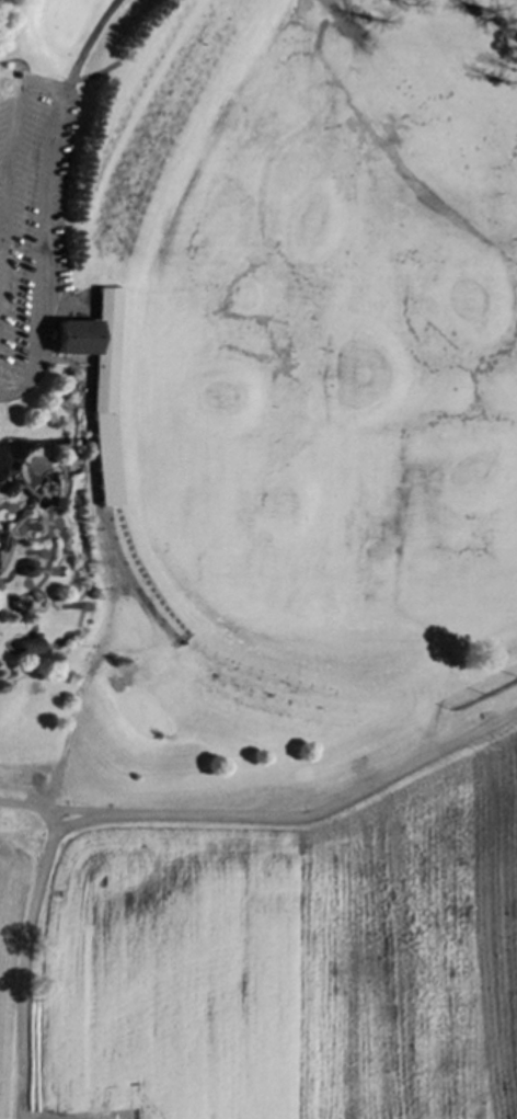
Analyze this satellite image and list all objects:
road: (81, 52)
road: (12, 124)
road: (41, 264)
building: (97, 382)
park: (250, 385)
building: (31, 647)
road: (28, 807)
road: (299, 817)
crop: (276, 939)
road: (21, 962)

